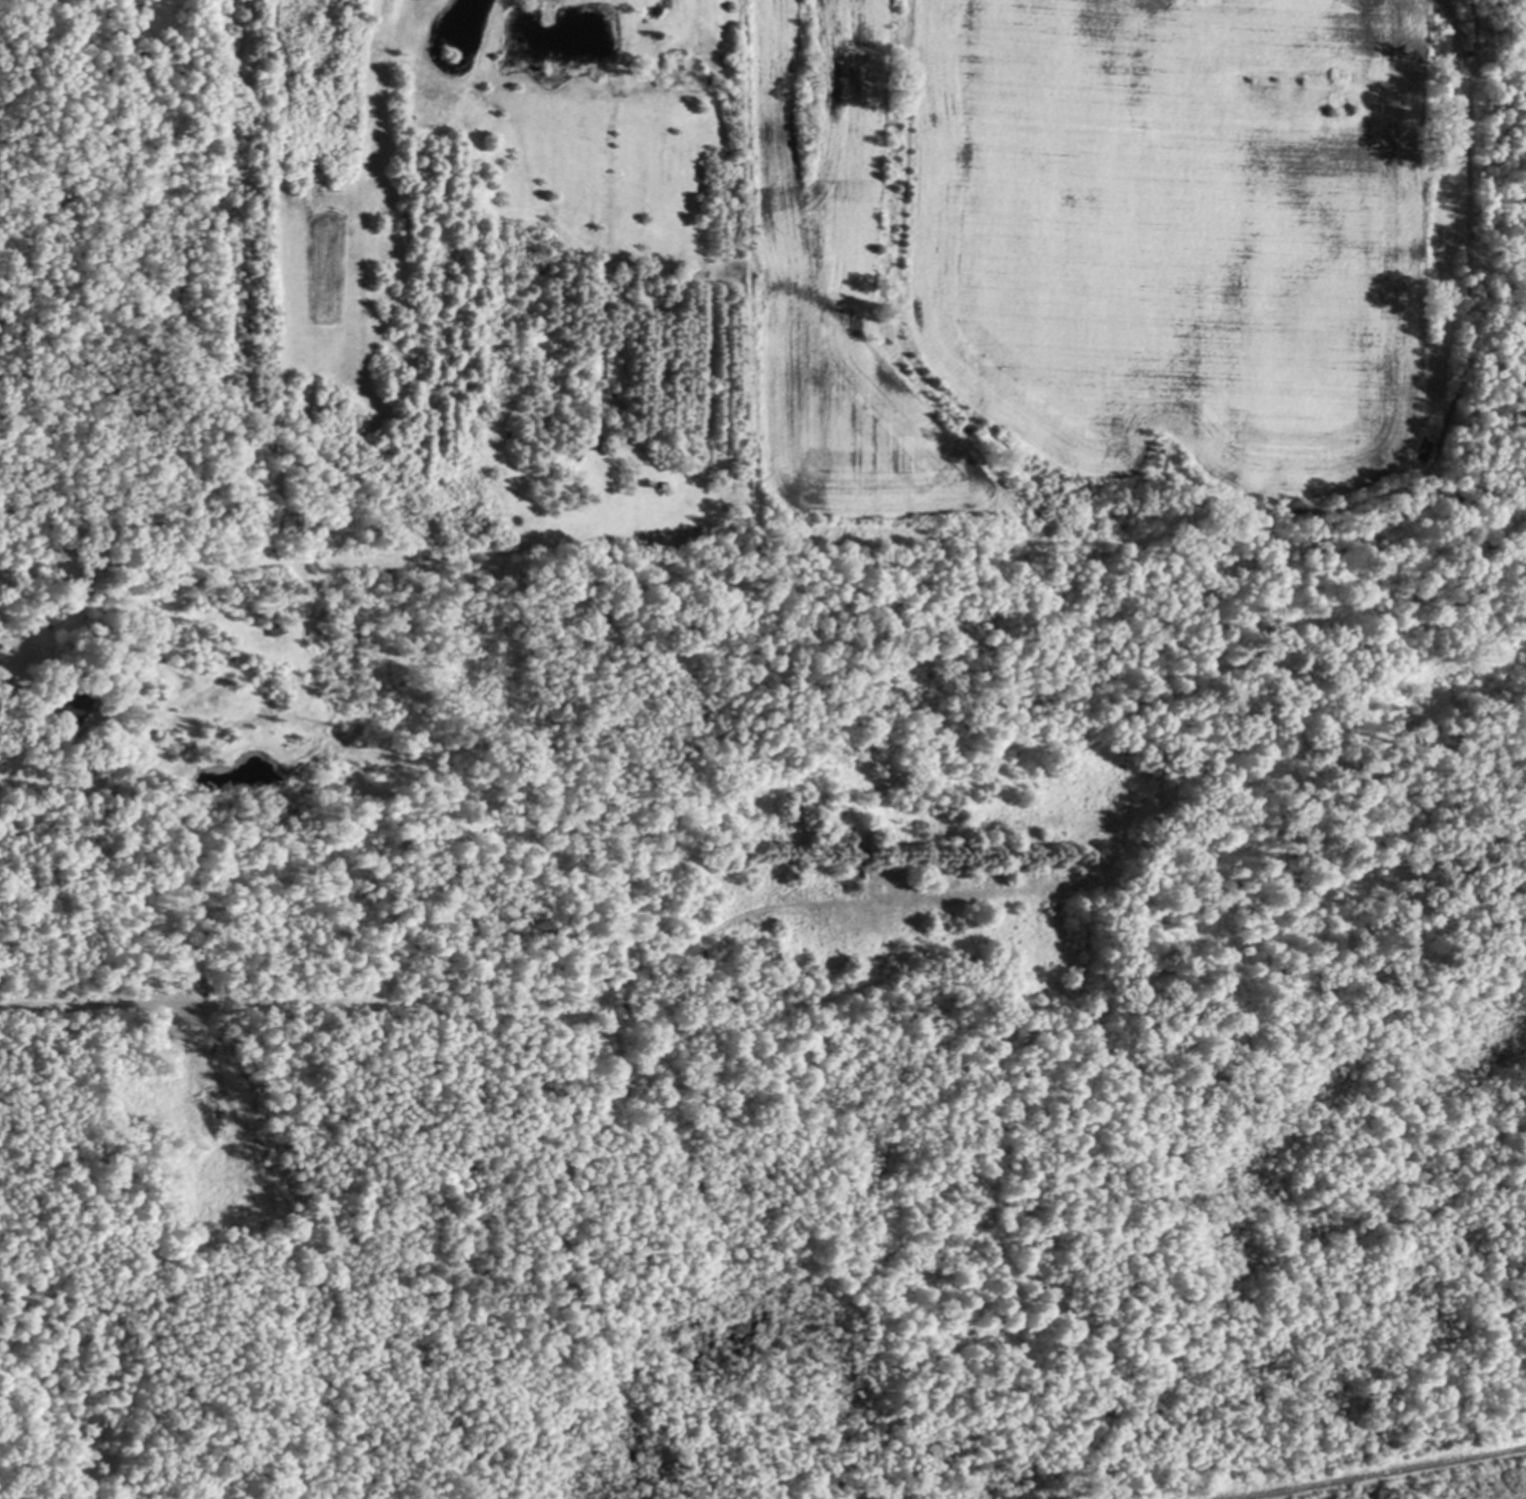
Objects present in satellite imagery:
building: (276, 626)
building: (67, 704)
building: (201, 982)
railway: (1381, 1473)

